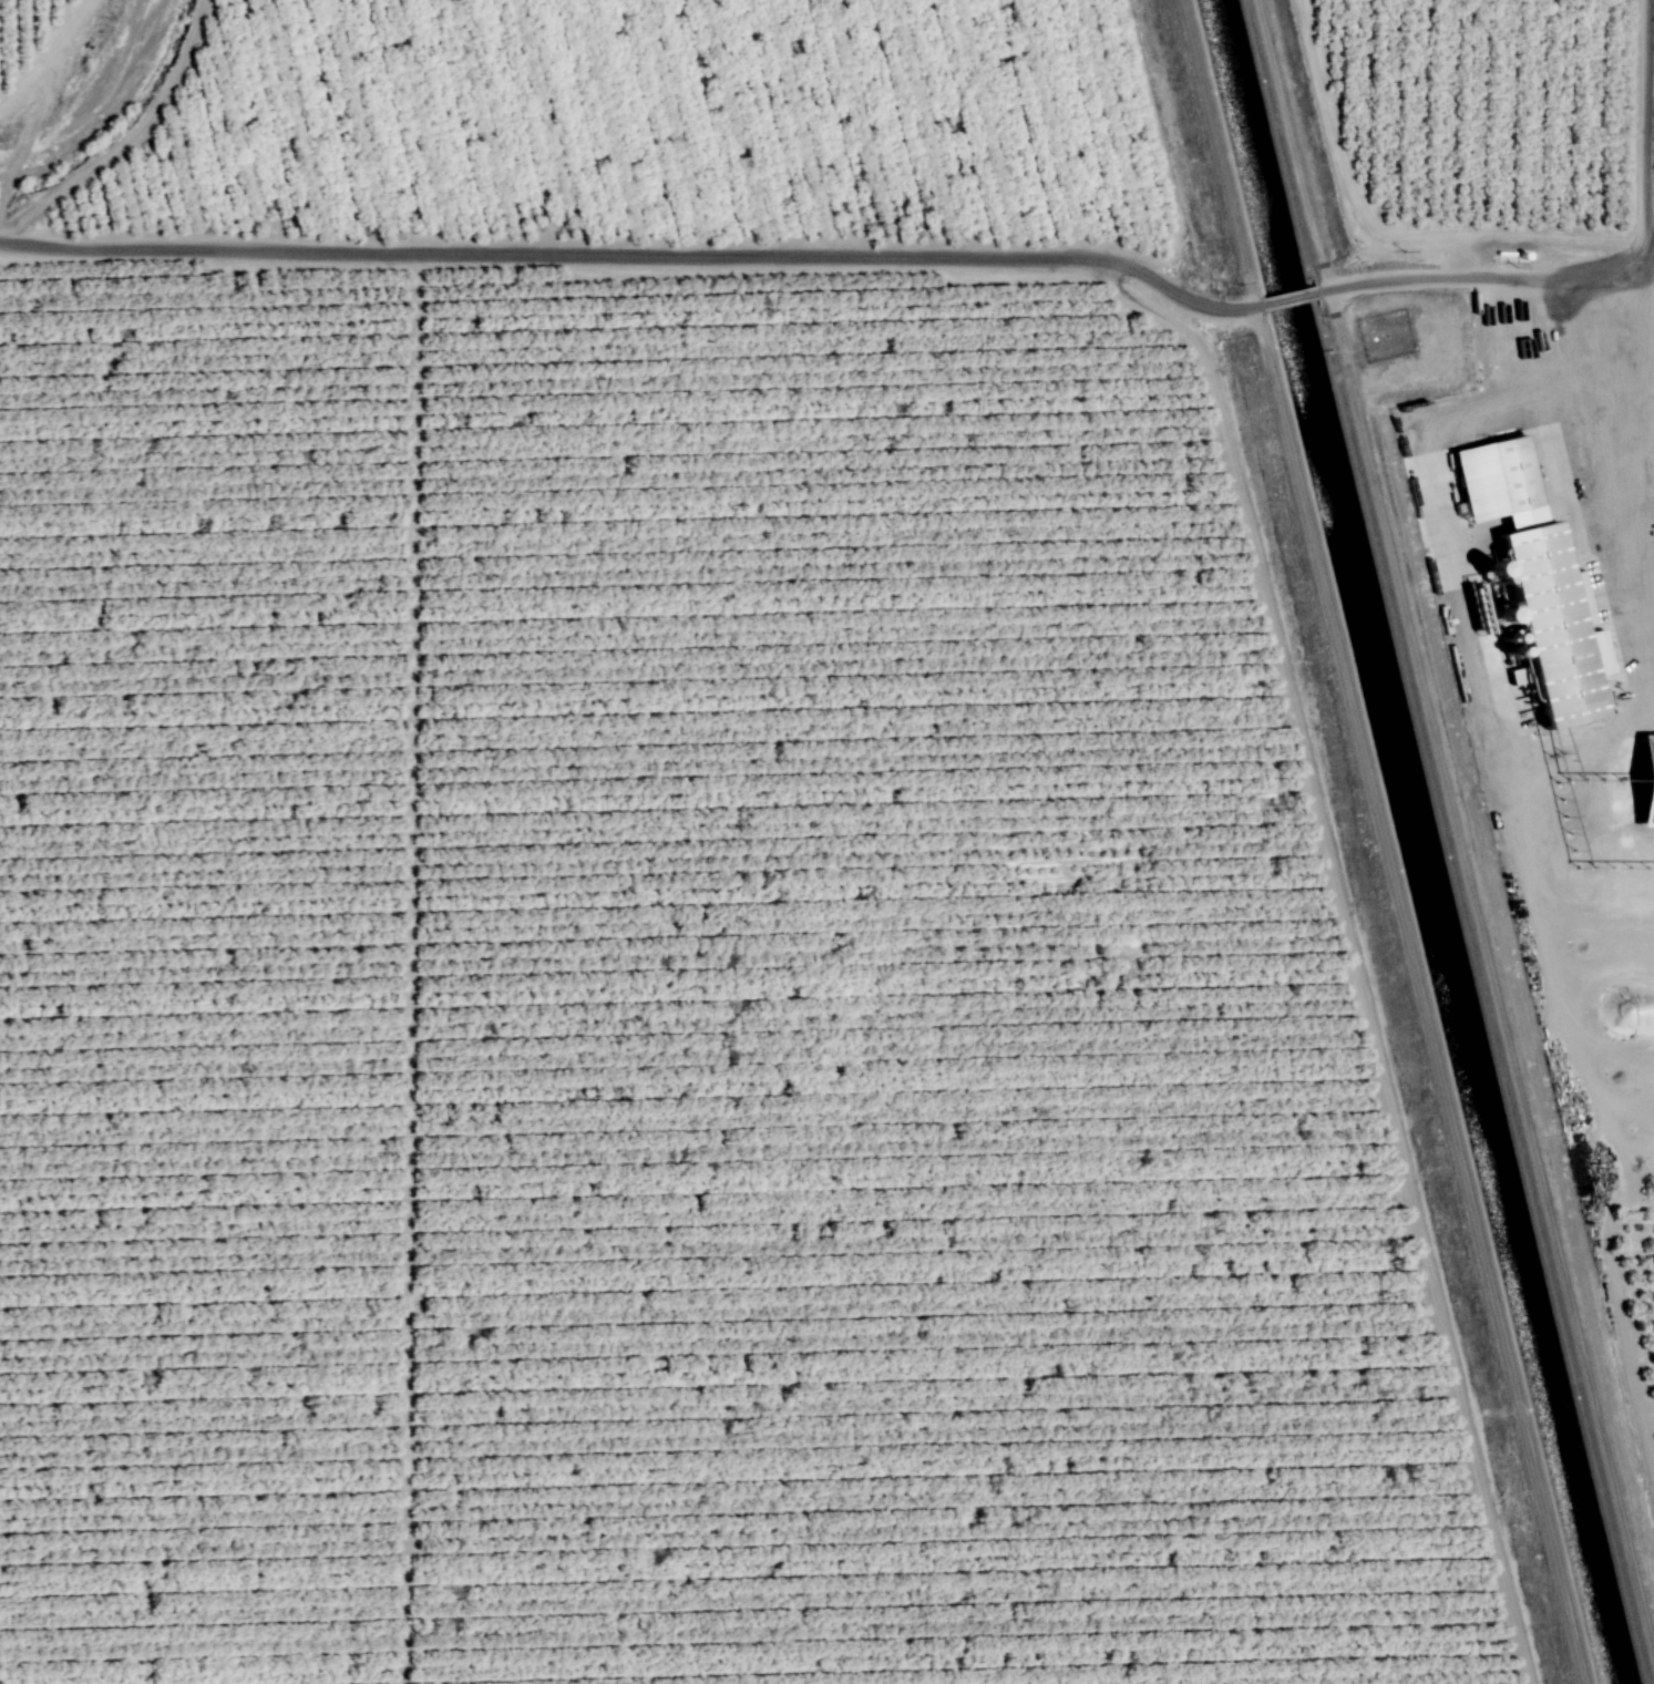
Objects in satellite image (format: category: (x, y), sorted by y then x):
road: (76, 14)
road: (34, 69)
road: (34, 116)
road: (1646, 132)
road: (129, 138)
road: (1286, 145)
road: (1215, 153)
road: (1387, 232)
road: (1648, 232)
road: (635, 254)
road: (1485, 279)
road: (1653, 285)
road: (1288, 298)
road: (1648, 546)
building: (1530, 585)
road: (1485, 712)
road: (1350, 952)
road: (1489, 979)
road: (1640, 1190)
road: (1619, 1331)

